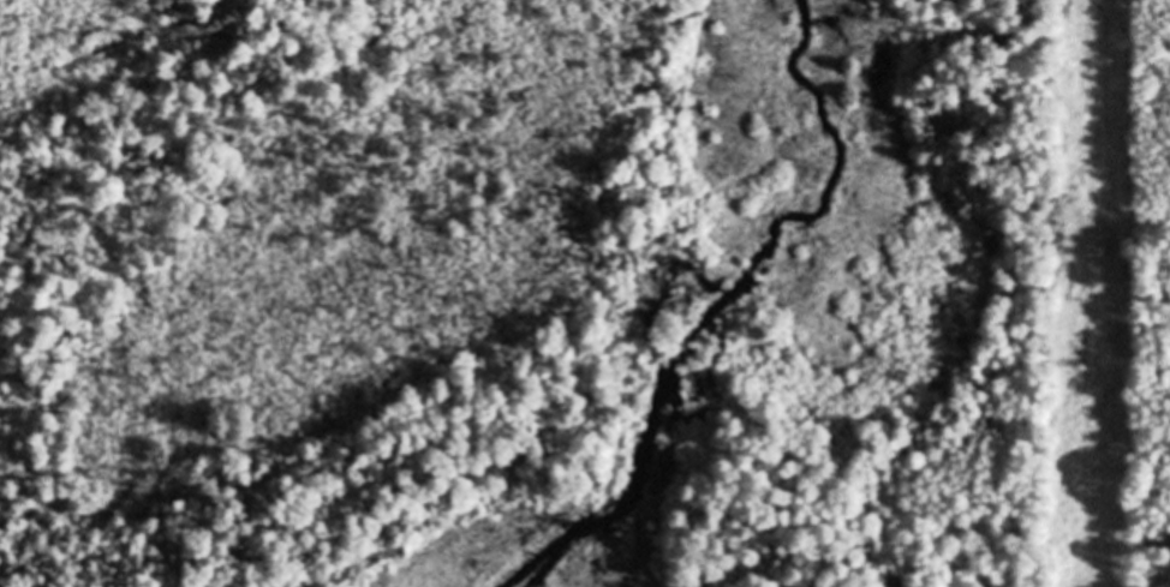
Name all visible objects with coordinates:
power tower: (1094, 259)
river: (722, 305)

